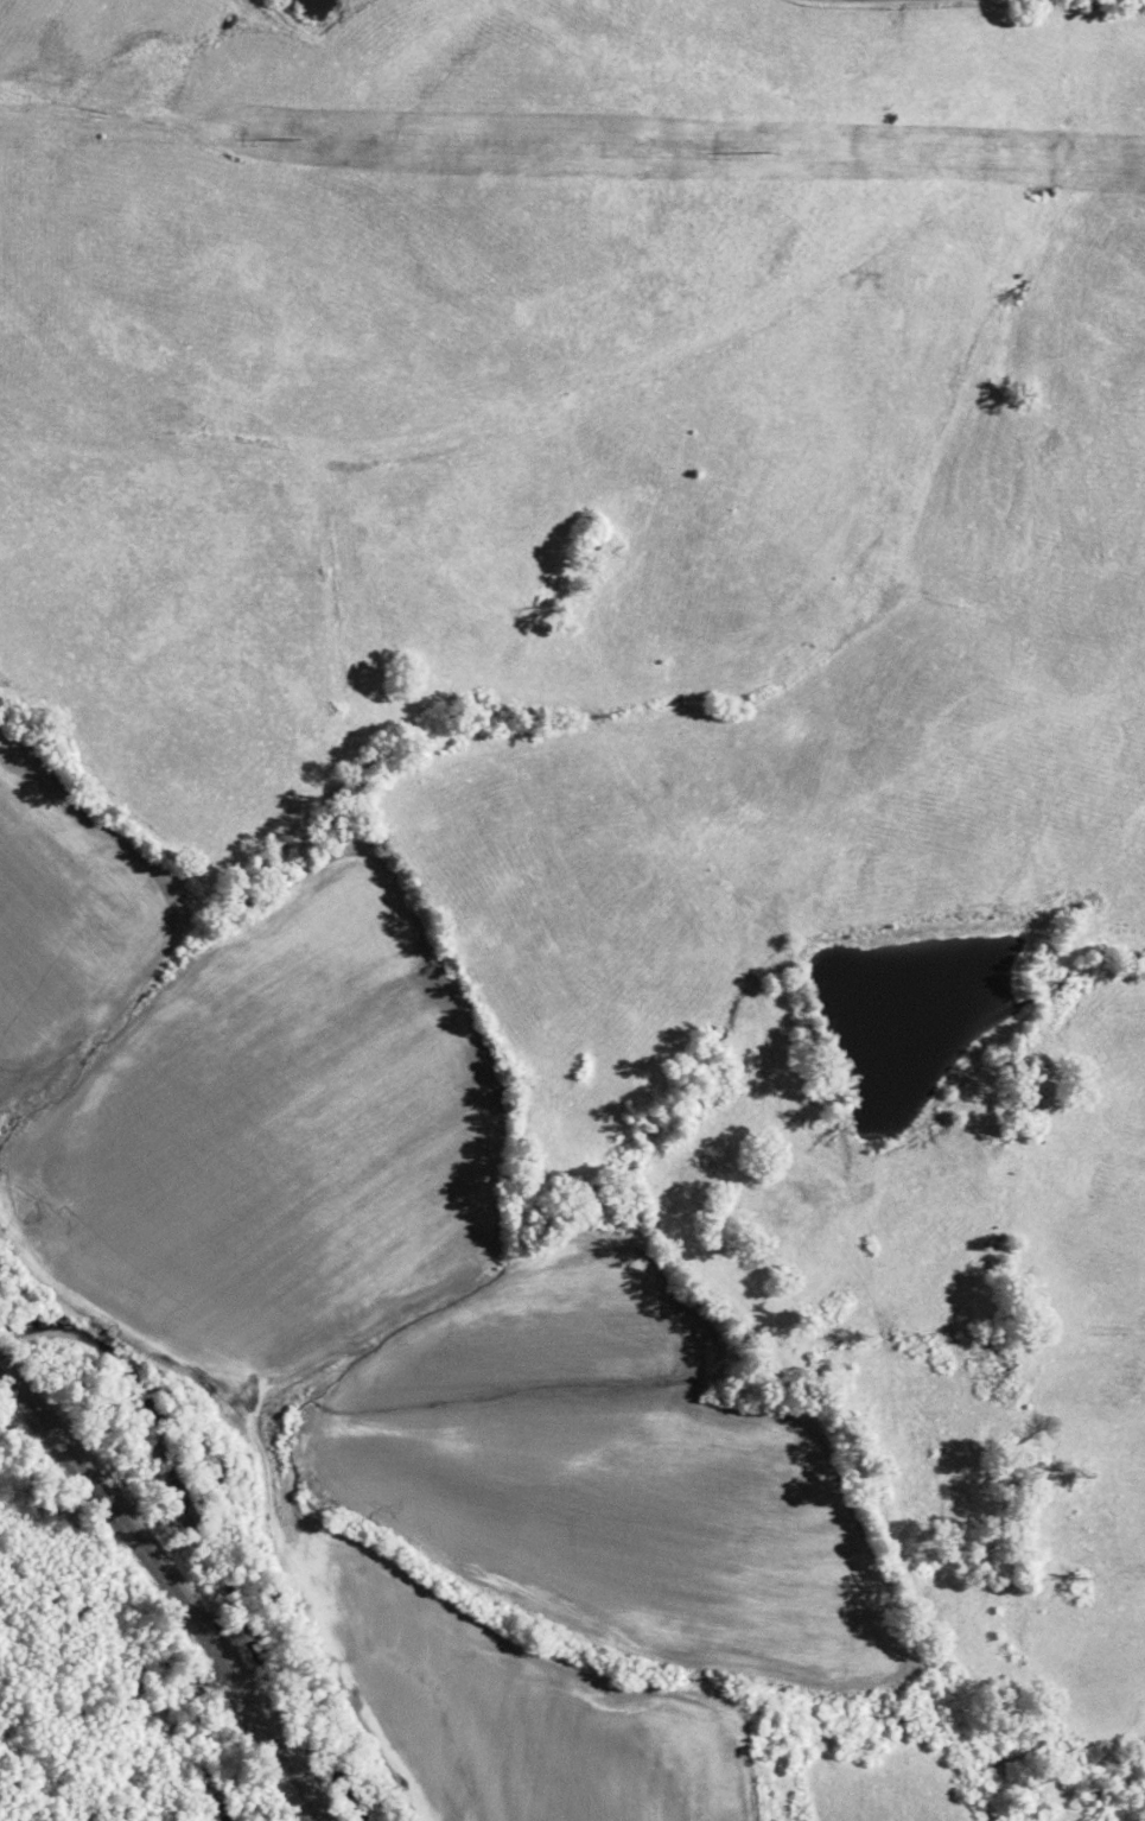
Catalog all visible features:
road: (979, 19)
railway: (168, 1588)

